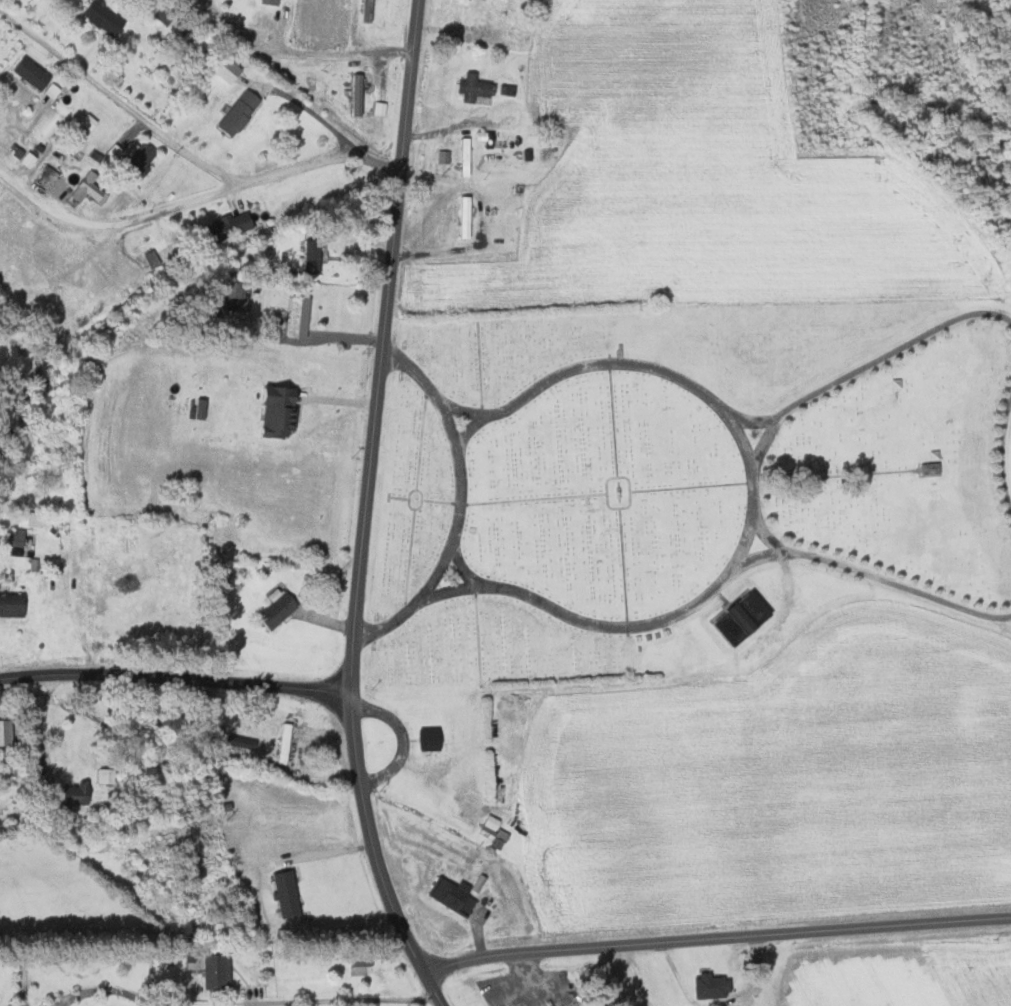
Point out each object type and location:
building: (271, 2)
building: (107, 17)
road: (300, 51)
building: (231, 70)
building: (36, 72)
building: (476, 87)
building: (55, 90)
building: (359, 94)
road: (111, 101)
building: (242, 112)
road: (313, 112)
building: (90, 121)
building: (27, 155)
building: (145, 157)
building: (51, 177)
building: (90, 191)
road: (196, 203)
building: (232, 225)
building: (313, 256)
building: (238, 289)
building: (301, 316)
building: (282, 410)
park: (686, 484)
road: (366, 511)
building: (17, 537)
building: (14, 604)
building: (280, 608)
road: (174, 672)
building: (8, 732)
building: (433, 739)
building: (286, 743)
building: (107, 775)
building: (79, 794)
building: (489, 827)
building: (286, 893)
building: (455, 894)
road: (712, 939)
building: (362, 965)
building: (210, 969)
building: (713, 986)
road: (531, 987)
road: (107, 989)
road: (339, 1000)

